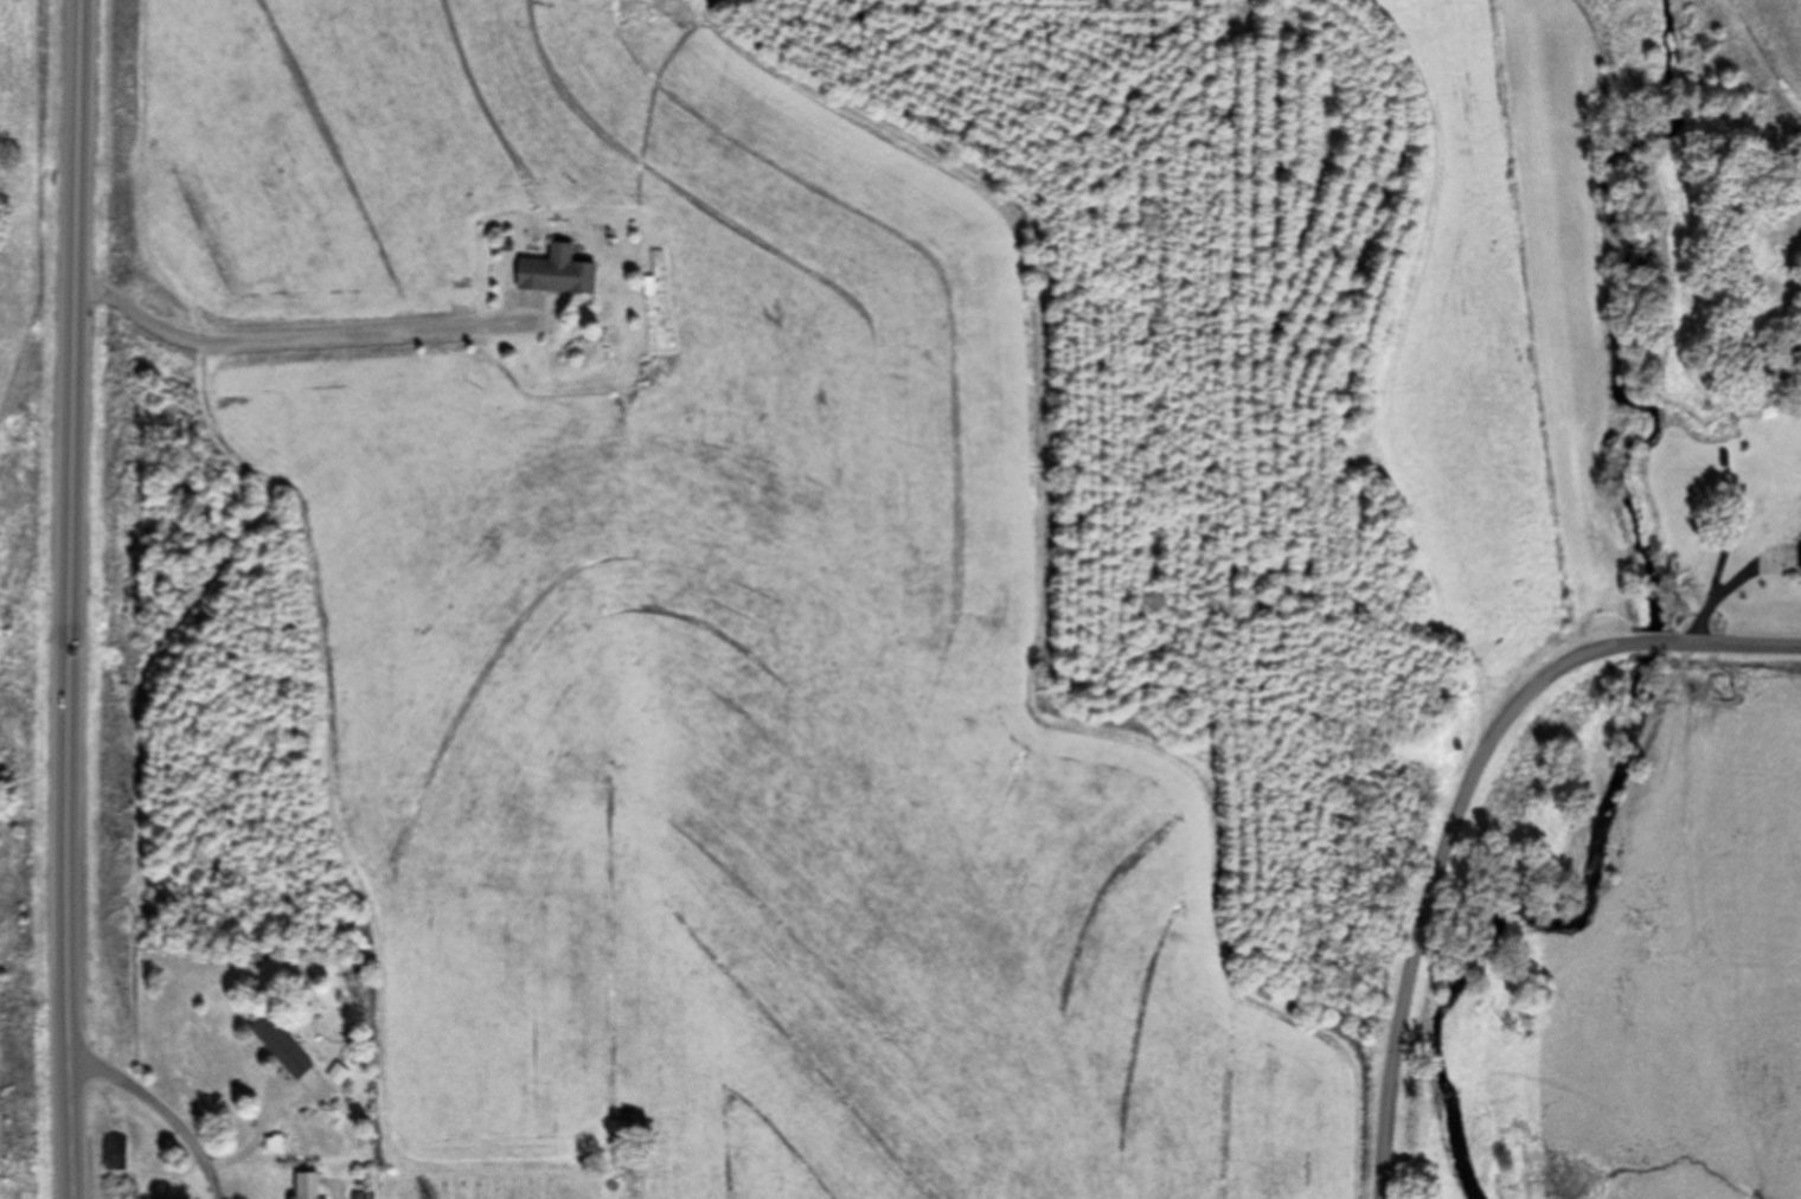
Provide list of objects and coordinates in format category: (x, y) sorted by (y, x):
building: (555, 274)
road: (284, 342)
building: (1800, 564)
road: (66, 598)
river: (1646, 626)
road: (1460, 800)
building: (286, 1054)
road: (162, 1110)
building: (115, 1153)
park: (494, 1180)
building: (303, 1186)
road: (334, 1193)
building: (123, 1194)
building: (361, 1197)

